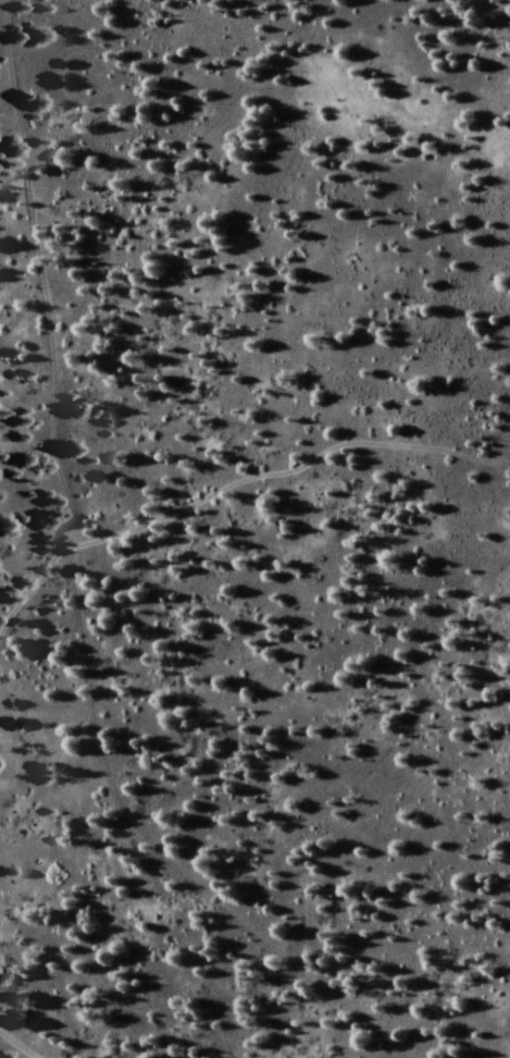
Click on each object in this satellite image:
road: (48, 327)
road: (25, 1039)

